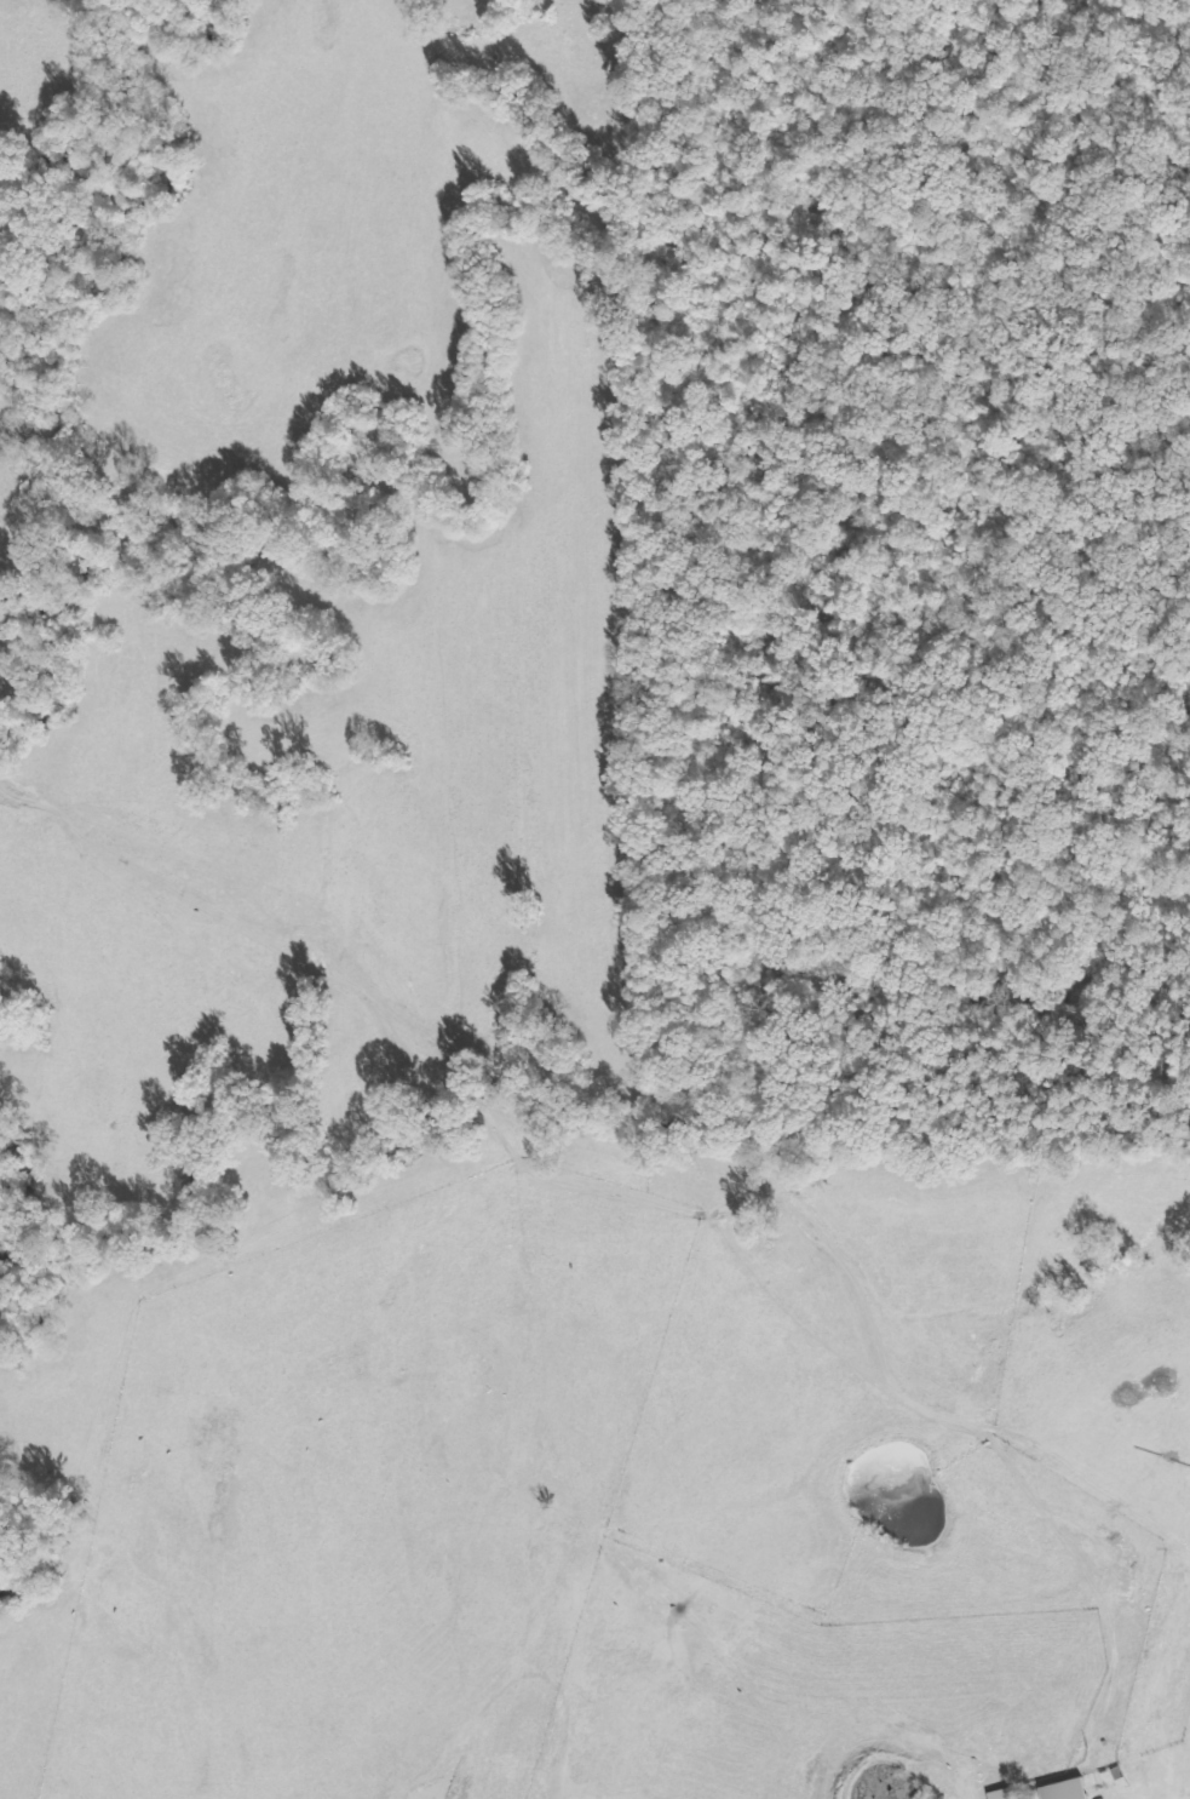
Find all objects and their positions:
building: (1068, 1789)
building: (1002, 1794)

